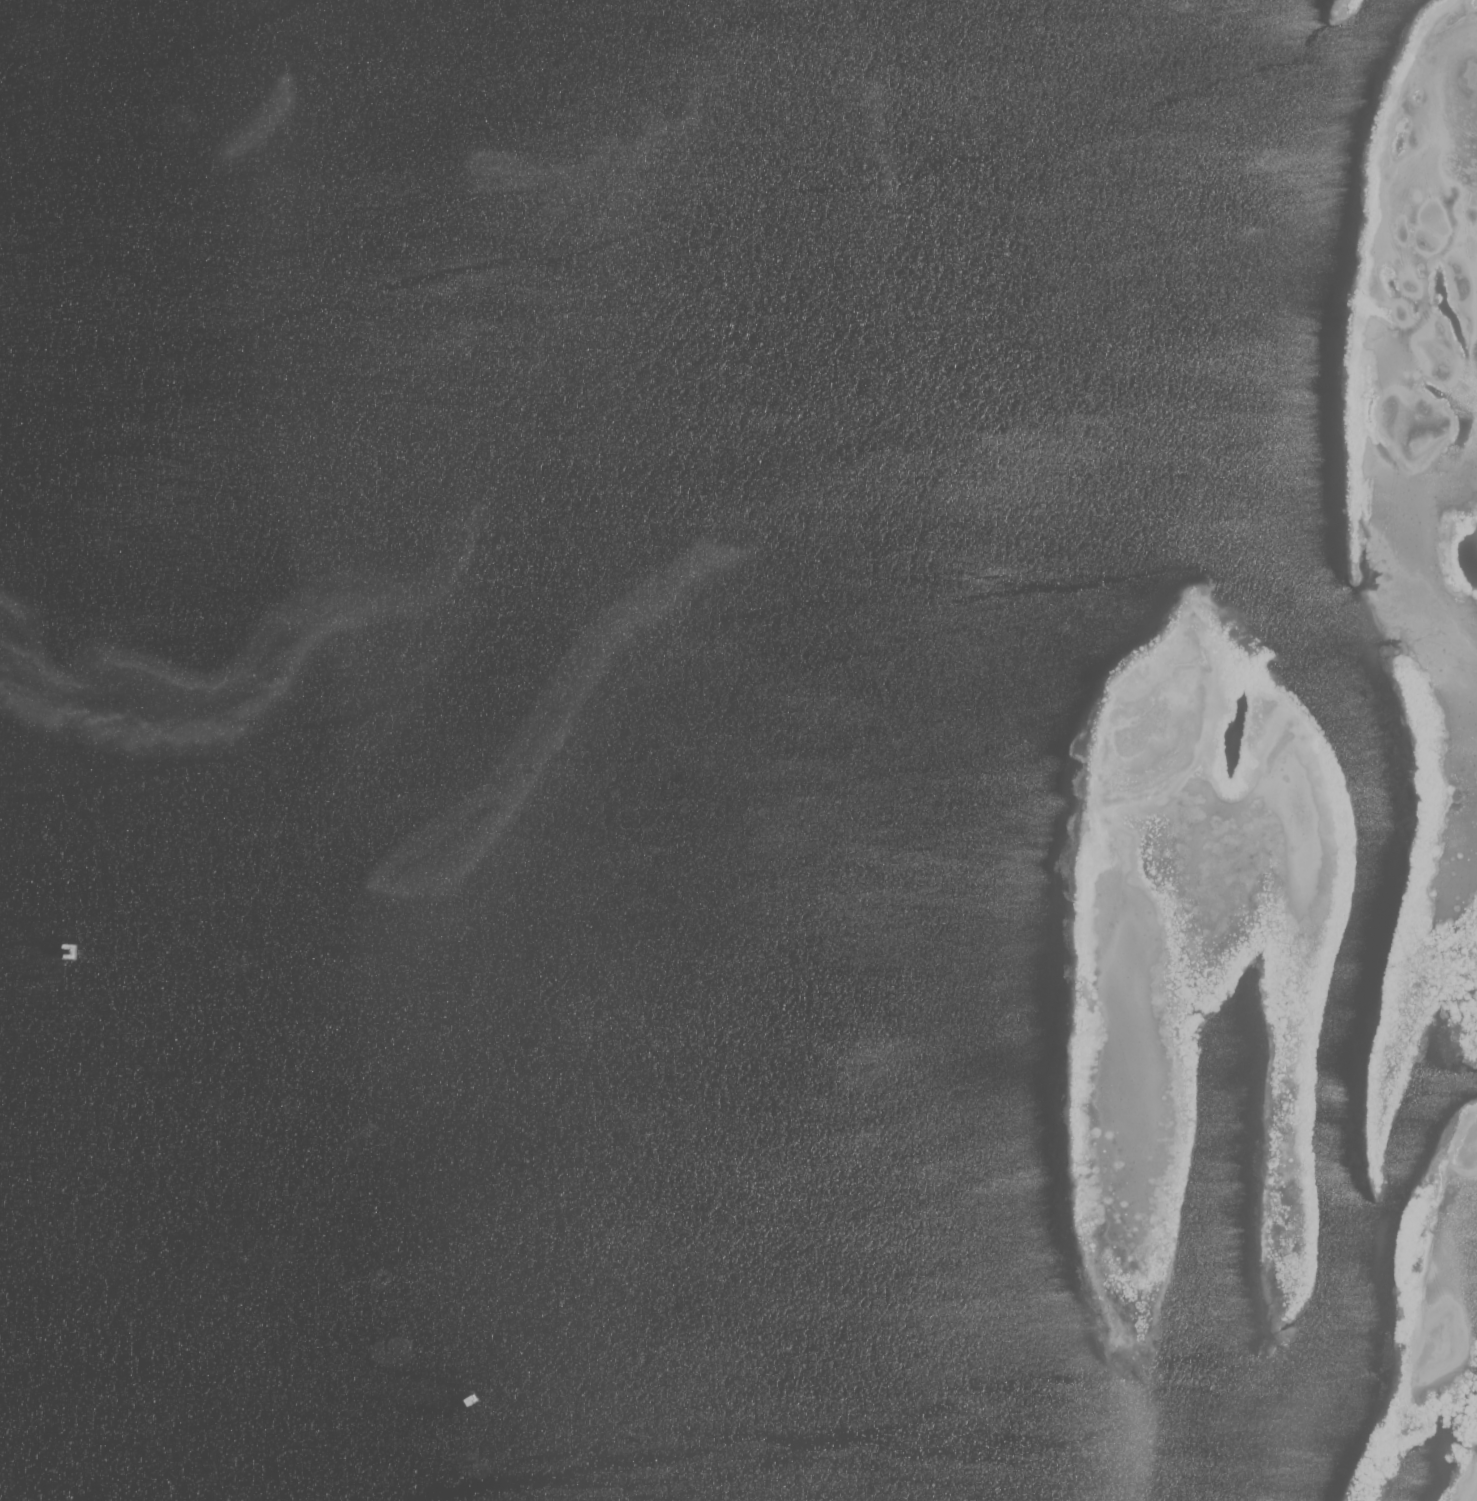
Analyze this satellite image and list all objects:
park: (1328, 711)

